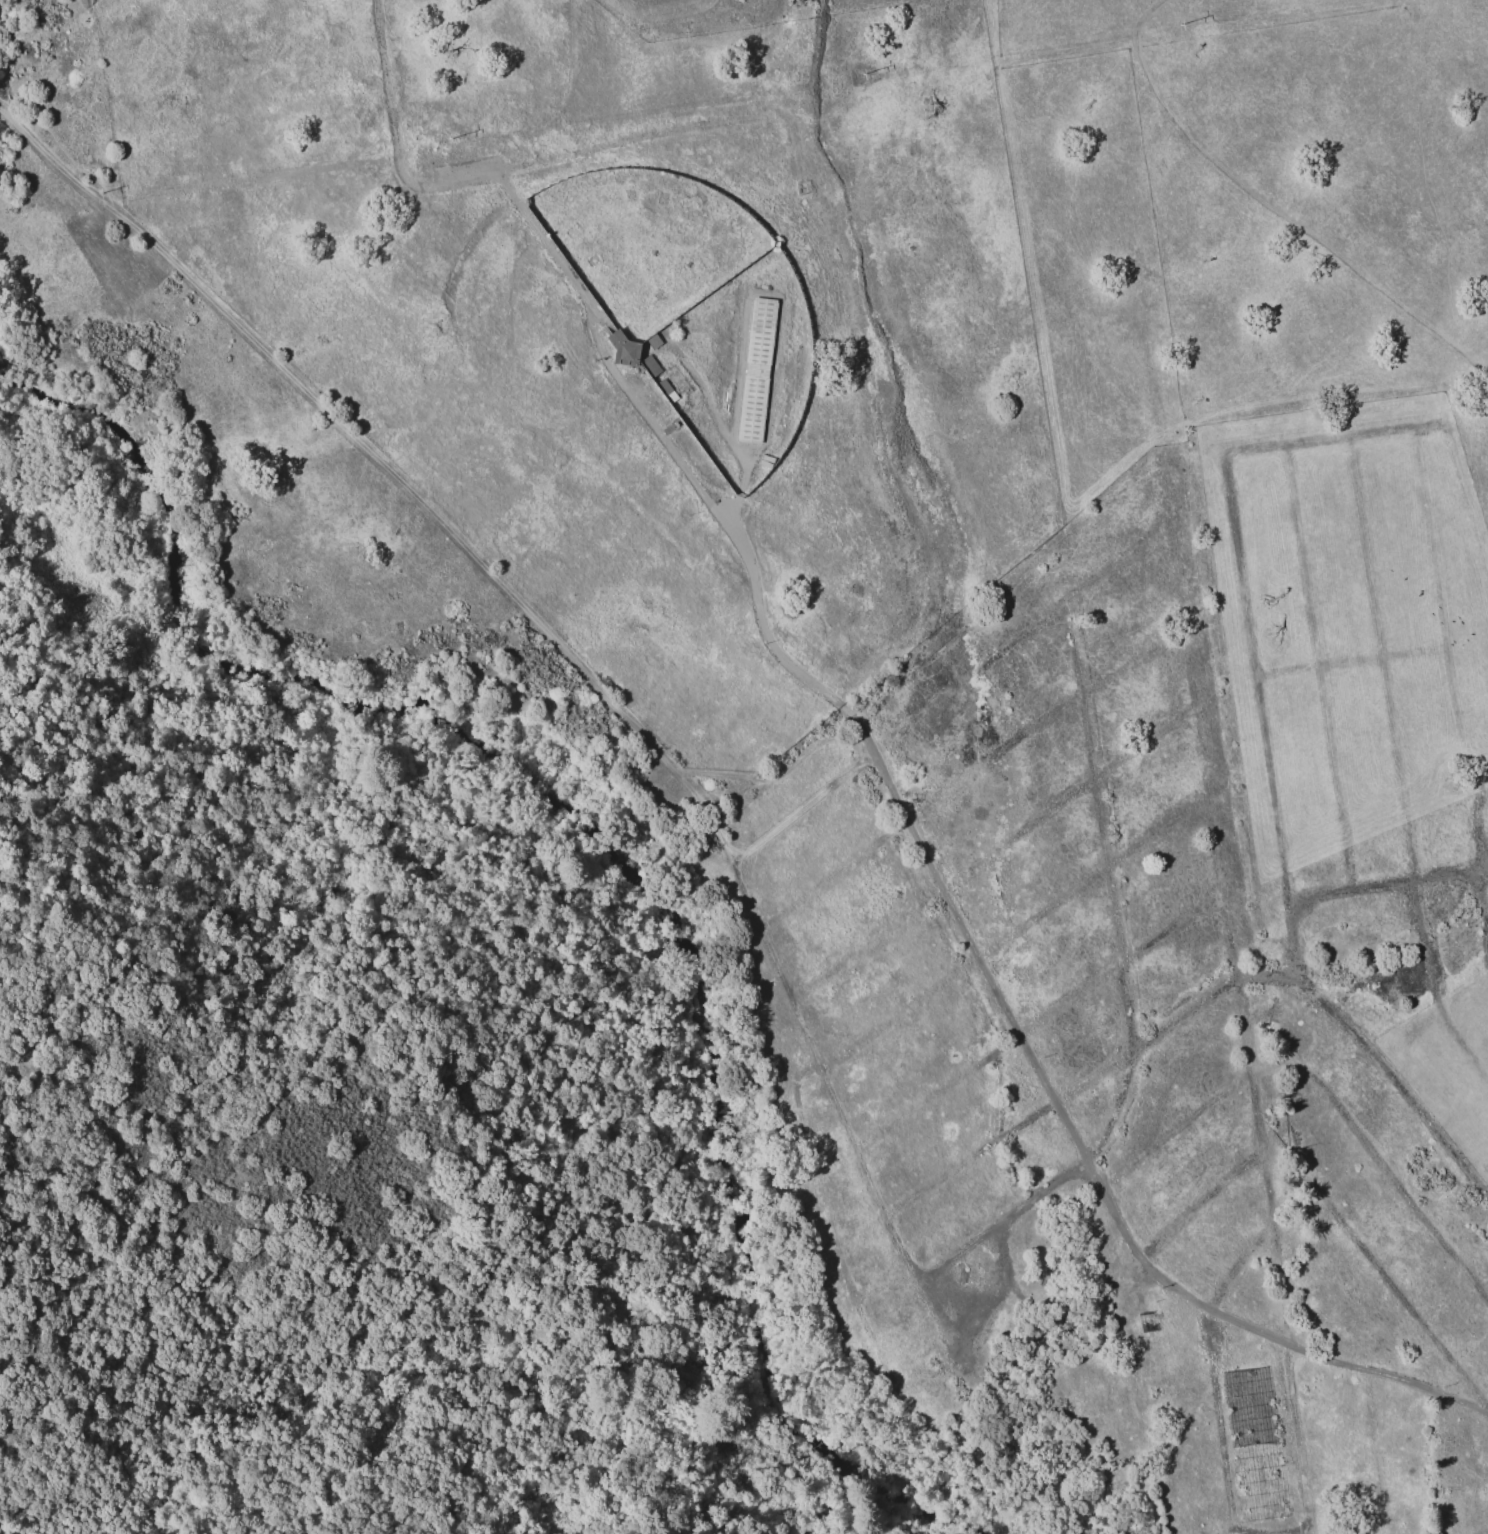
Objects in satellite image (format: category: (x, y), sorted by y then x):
building: (653, 341)
building: (624, 349)
building: (650, 365)
building: (758, 372)
building: (667, 390)
road: (418, 499)
road: (51, 717)
road: (866, 743)
building: (1152, 1306)
building: (1145, 1323)
building: (1255, 1445)

